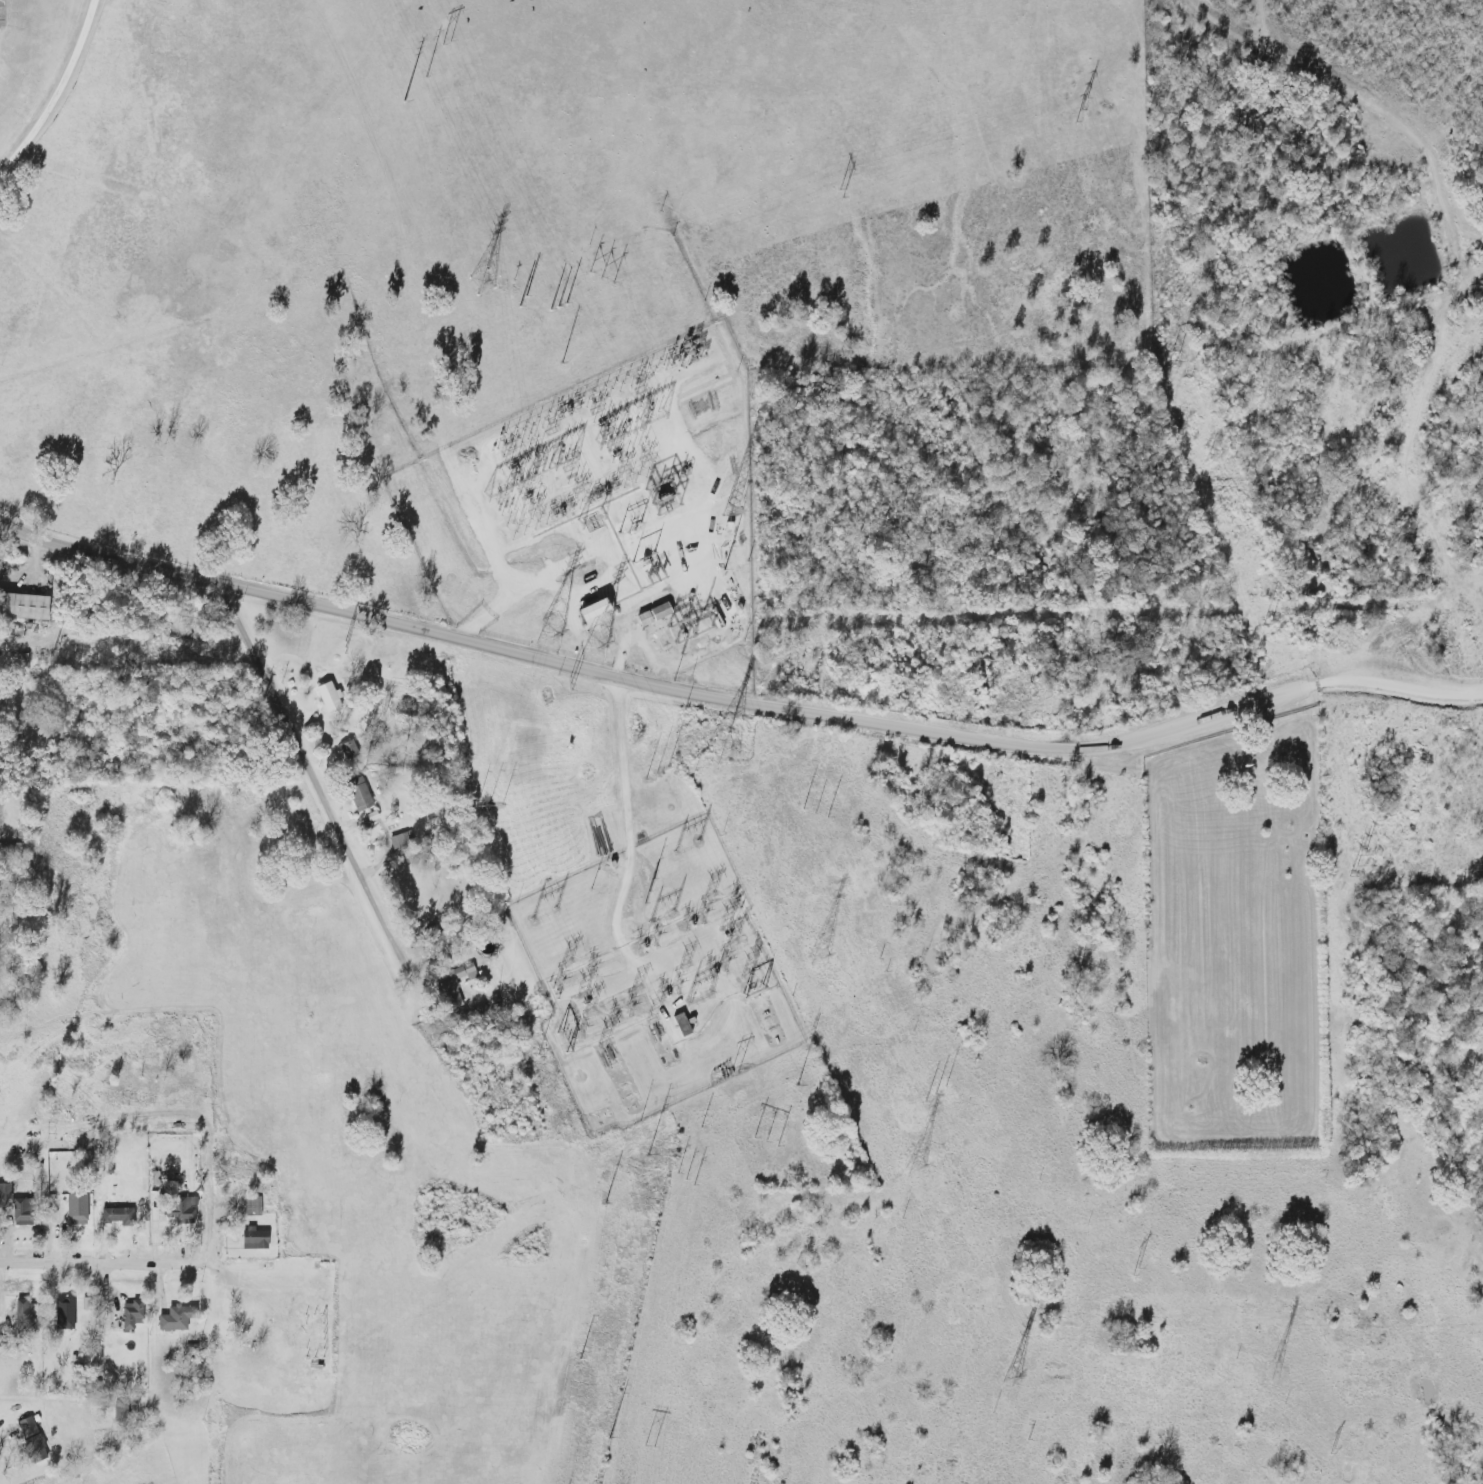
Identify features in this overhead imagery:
power tower: (447, 43)
road: (151, 81)
road: (60, 97)
power tower: (1080, 111)
power tower: (839, 194)
power tower: (600, 278)
power tower: (484, 284)
road: (1452, 298)
power tower: (561, 307)
power tower: (1170, 363)
building: (662, 500)
power substation: (603, 520)
road: (496, 558)
road: (526, 586)
building: (22, 606)
building: (589, 609)
building: (651, 614)
power tower: (1265, 622)
power tower: (550, 634)
power tower: (597, 646)
power tower: (342, 648)
power tower: (51, 654)
power tower: (569, 684)
building: (326, 697)
road: (738, 705)
power tower: (681, 709)
power tower: (723, 750)
road: (313, 773)
power tower: (654, 774)
road: (628, 790)
building: (357, 794)
power tower: (486, 807)
power tower: (813, 813)
building: (398, 842)
power tower: (1355, 866)
power tower: (650, 893)
power tower: (710, 899)
power tower: (734, 905)
power tower: (755, 954)
power tower: (818, 957)
power tower: (566, 965)
power tower: (686, 967)
power tower: (592, 971)
building: (468, 972)
power substation: (652, 977)
power tower: (560, 986)
power tower: (637, 987)
building: (448, 995)
power tower: (654, 1023)
building: (679, 1025)
building: (565, 1045)
power tower: (734, 1074)
power tower: (933, 1095)
power tower: (765, 1143)
power tower: (914, 1168)
road: (295, 1171)
power tower: (684, 1180)
building: (4, 1192)
building: (85, 1209)
building: (190, 1209)
building: (29, 1212)
building: (176, 1212)
building: (126, 1216)
building: (16, 1217)
building: (261, 1239)
road: (147, 1267)
power tower: (1133, 1271)
building: (21, 1314)
building: (35, 1314)
building: (138, 1314)
building: (123, 1316)
building: (73, 1318)
building: (180, 1320)
power tower: (1273, 1369)
power tower: (1011, 1378)
building: (30, 1439)
building: (39, 1439)
power tower: (648, 1445)
power tower: (1330, 1452)

